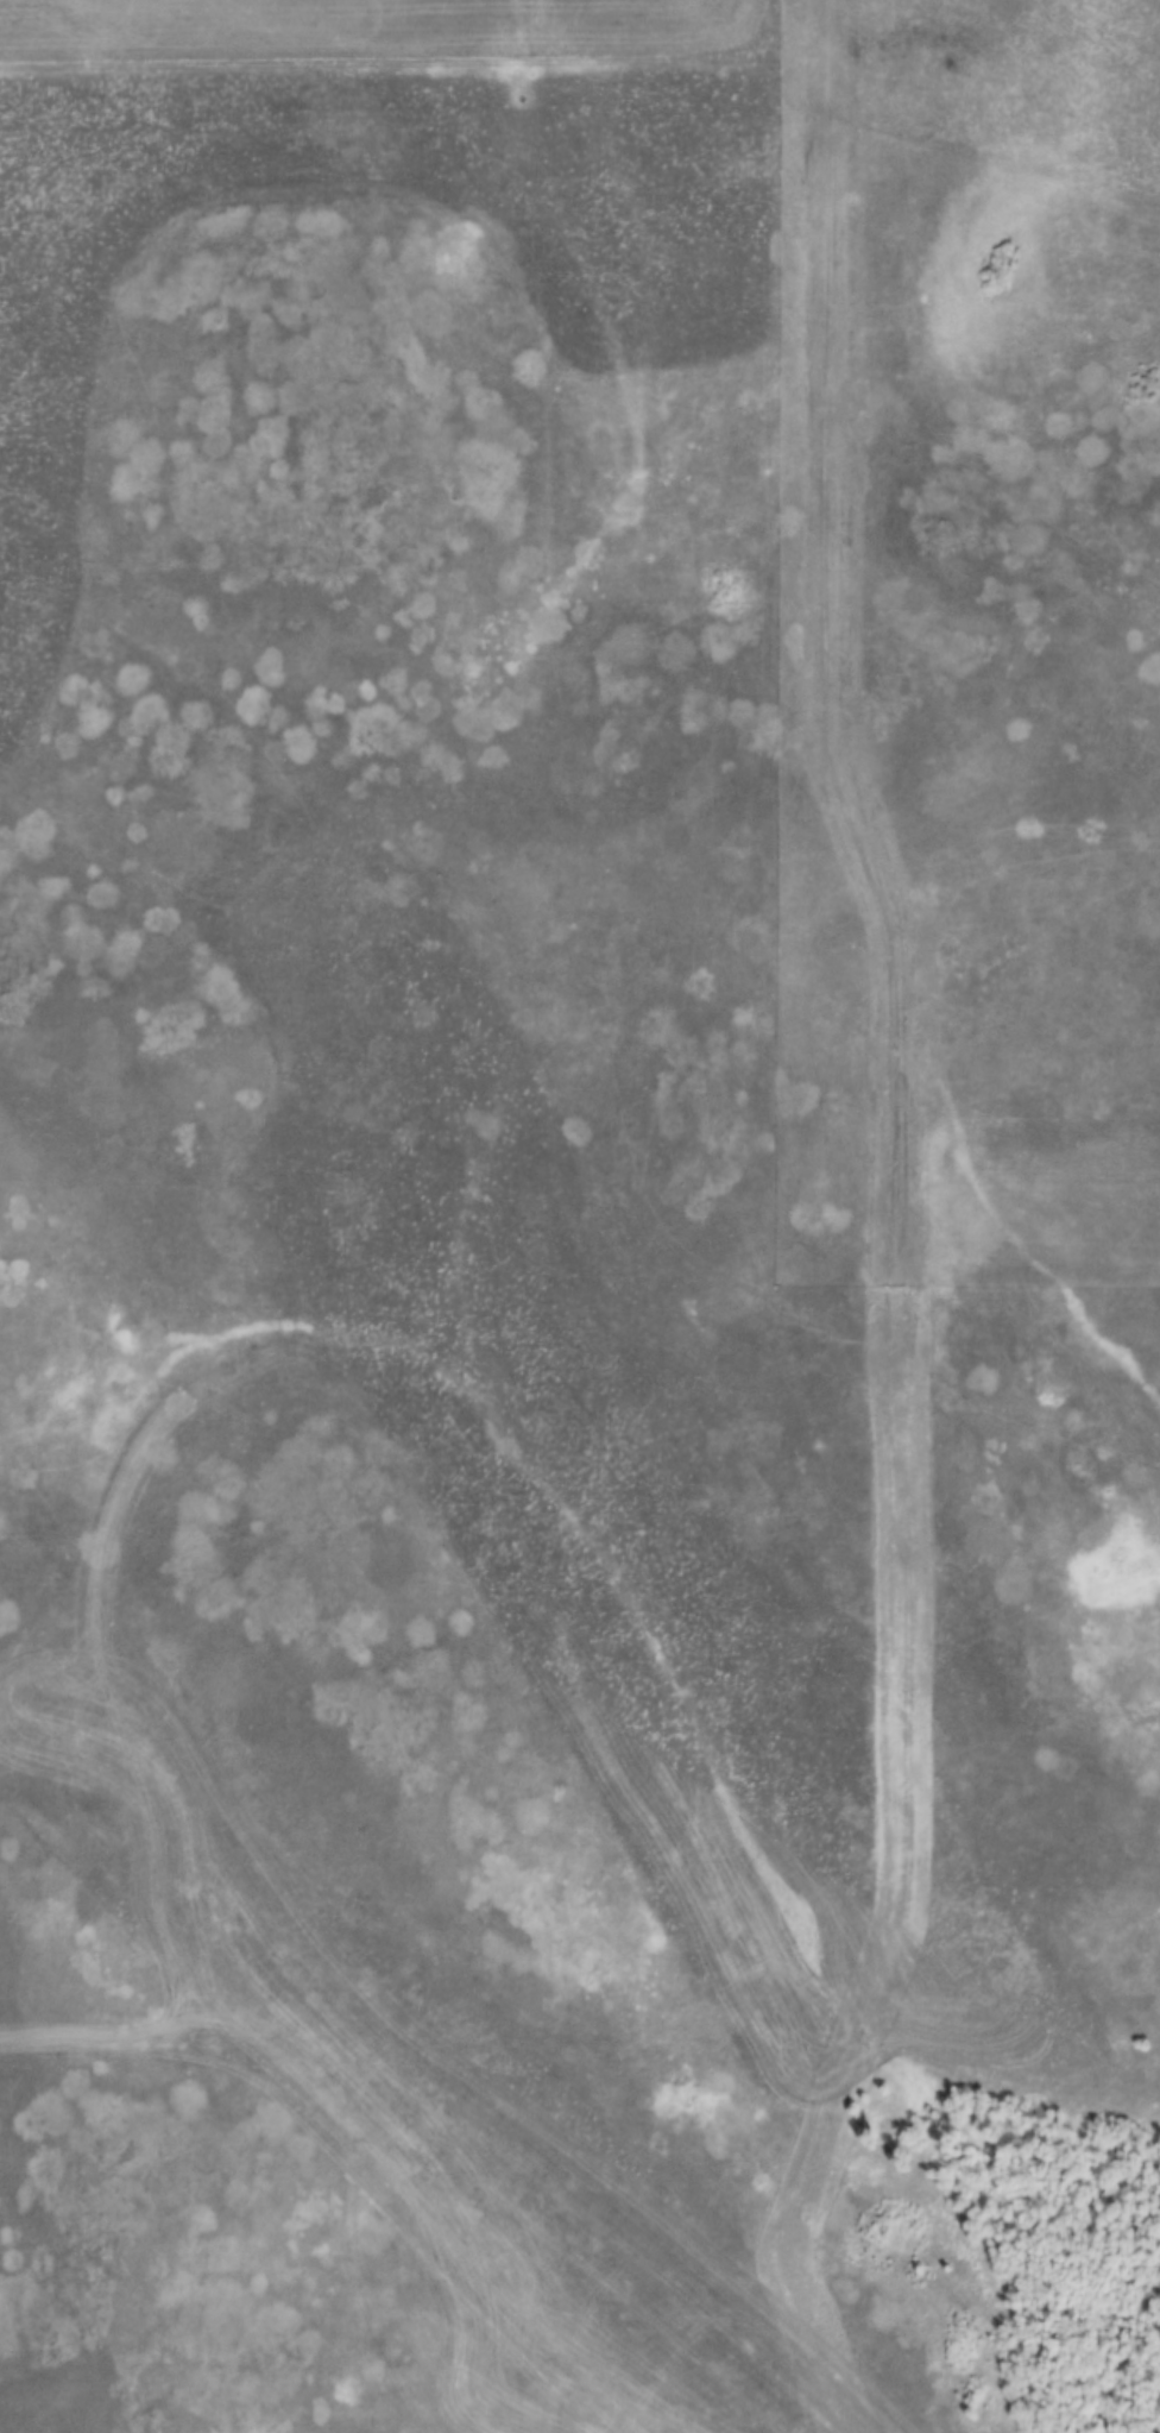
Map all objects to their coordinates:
road: (342, 2163)

